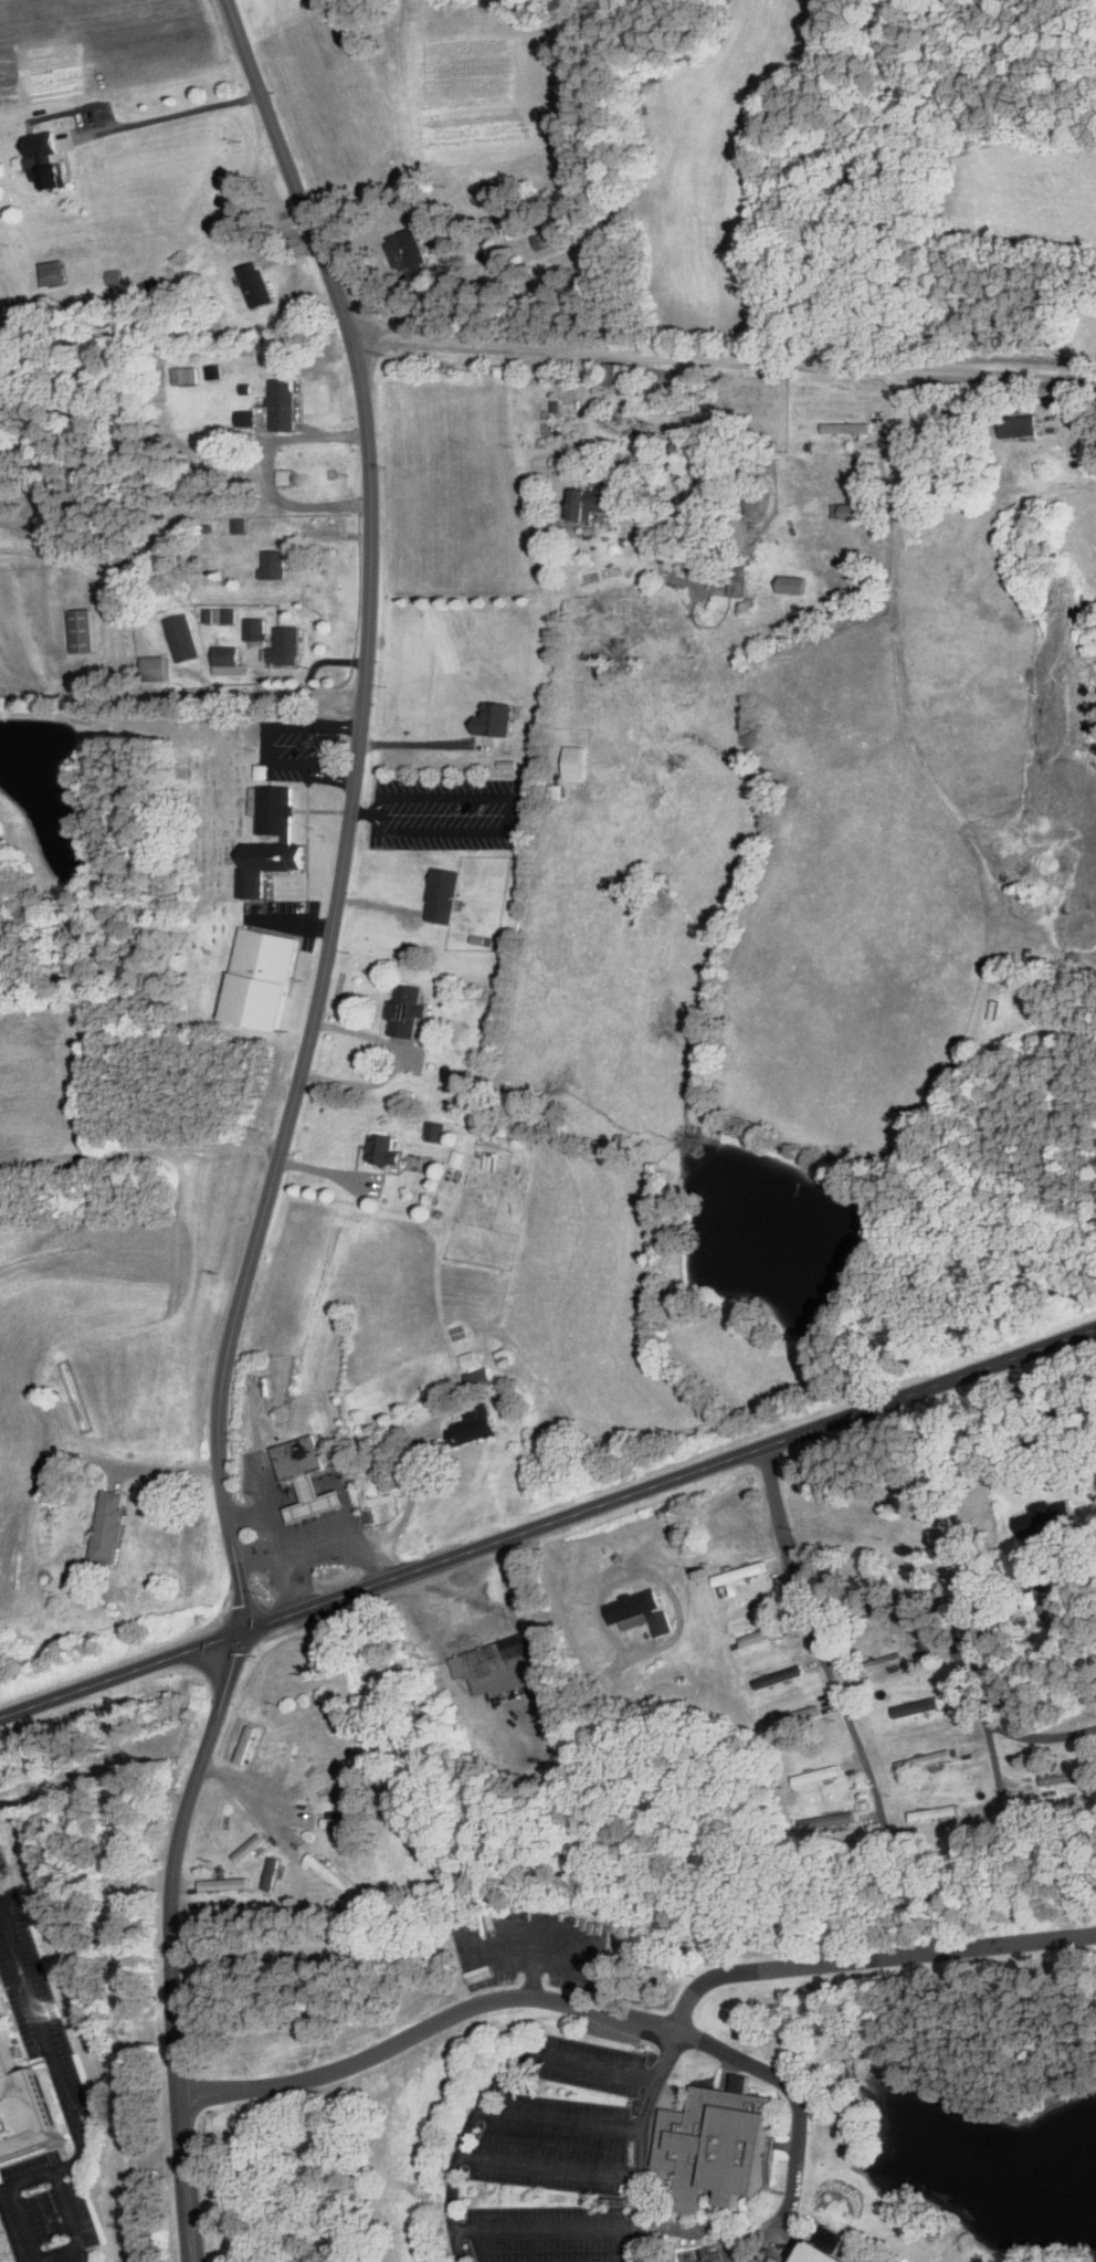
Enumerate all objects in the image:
road: (172, 108)
building: (54, 175)
building: (548, 238)
building: (409, 251)
building: (257, 284)
road: (721, 357)
building: (185, 375)
building: (623, 375)
building: (671, 378)
building: (284, 403)
building: (948, 403)
building: (1021, 425)
building: (847, 428)
building: (700, 448)
road: (266, 470)
building: (697, 502)
building: (753, 502)
building: (584, 503)
building: (849, 511)
building: (275, 564)
building: (737, 581)
building: (794, 585)
building: (225, 616)
building: (255, 629)
building: (82, 630)
building: (182, 638)
building: (286, 646)
building: (226, 660)
building: (155, 667)
road: (181, 695)
building: (496, 719)
road: (266, 738)
road: (415, 740)
parking lot: (299, 747)
building: (275, 811)
road: (323, 811)
road: (510, 811)
road: (363, 812)
parking lot: (445, 812)
building: (268, 864)
building: (444, 895)
parking lot: (285, 917)
road: (291, 924)
building: (262, 979)
building: (407, 1010)
road: (285, 1126)
building: (436, 1130)
building: (383, 1149)
building: (491, 1160)
building: (518, 1172)
building: (470, 1360)
building: (479, 1376)
building: (435, 1396)
building: (474, 1427)
building: (299, 1458)
road: (165, 1465)
building: (379, 1485)
road: (412, 1487)
road: (283, 1497)
building: (315, 1500)
gas station: (315, 1500)
road: (548, 1522)
building: (1048, 1522)
building: (109, 1527)
road: (275, 1529)
road: (356, 1534)
road: (295, 1545)
building: (740, 1574)
road: (989, 1610)
building: (642, 1612)
building: (1060, 1618)
building: (763, 1634)
road: (814, 1637)
road: (945, 1645)
building: (889, 1661)
building: (509, 1664)
building: (910, 1708)
building: (798, 1716)
road: (1039, 1738)
building: (245, 1744)
building: (276, 1744)
building: (926, 1760)
building: (818, 1775)
building: (1068, 1777)
road: (230, 1784)
building: (935, 1813)
building: (829, 1820)
building: (340, 1822)
building: (249, 1847)
building: (272, 1872)
building: (328, 1872)
building: (224, 1883)
building: (224, 1911)
road: (542, 1922)
parking lot: (529, 1948)
road: (872, 1956)
road: (551, 1999)
parking lot: (591, 2064)
road: (602, 2065)
road: (68, 2107)
building: (20, 2108)
road: (559, 2119)
road: (462, 2139)
road: (640, 2142)
building: (719, 2143)
parking lot: (554, 2144)
road: (784, 2145)
road: (548, 2165)
road: (780, 2190)
road: (660, 2214)
road: (713, 2223)
road: (73, 2227)
road: (546, 2228)
road: (657, 2229)
road: (694, 2231)
parking lot: (548, 2233)
road: (757, 2233)
road: (733, 2251)
building: (829, 2254)
building: (781, 2256)

